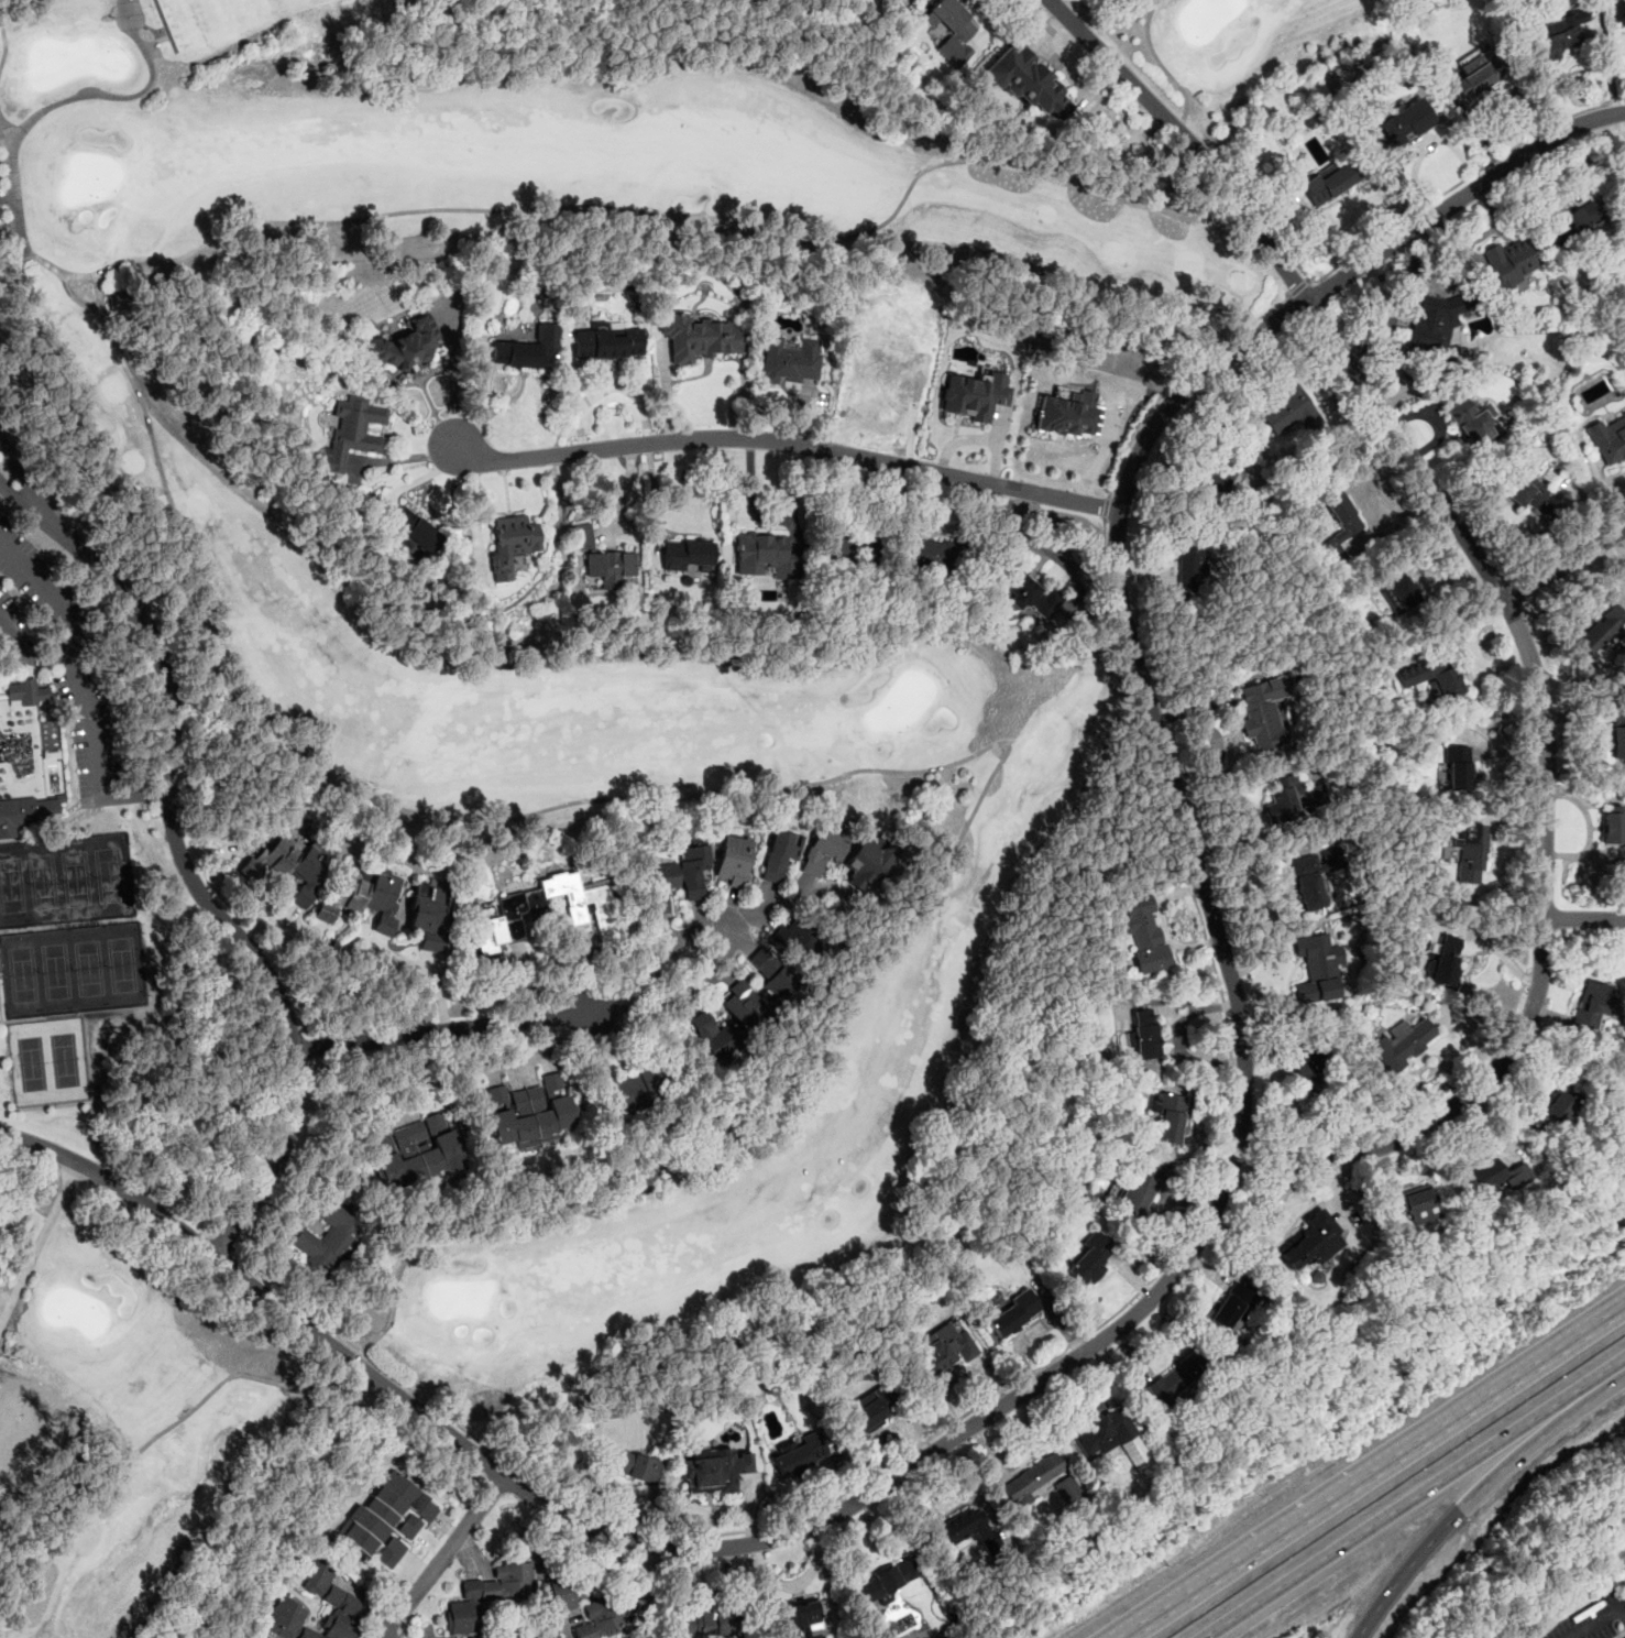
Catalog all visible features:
building: (1617, 11)
building: (951, 30)
building: (1553, 35)
road: (3, 43)
road: (1157, 64)
building: (1475, 76)
building: (1026, 81)
road: (122, 96)
road: (1178, 124)
road: (4, 128)
building: (1404, 128)
road: (1189, 151)
building: (1330, 182)
road: (1461, 182)
road: (600, 207)
building: (1569, 227)
building: (1509, 263)
road: (1298, 288)
road: (76, 299)
road: (1398, 308)
building: (1431, 326)
building: (703, 338)
building: (404, 343)
building: (606, 346)
building: (527, 351)
building: (791, 360)
building: (886, 362)
road: (1176, 378)
road: (452, 383)
building: (975, 395)
road: (483, 403)
building: (1289, 411)
building: (1068, 415)
building: (1471, 423)
building: (352, 434)
building: (1610, 440)
road: (788, 441)
road: (20, 476)
building: (1210, 476)
building: (1525, 490)
road: (623, 496)
road: (18, 503)
road: (1104, 507)
road: (475, 515)
building: (1338, 521)
building: (415, 531)
building: (581, 536)
road: (1019, 536)
building: (514, 540)
building: (848, 546)
building: (926, 552)
building: (764, 556)
building: (688, 558)
road: (1566, 565)
building: (606, 568)
building: (1192, 569)
building: (1396, 591)
building: (1028, 598)
road: (1509, 608)
road: (109, 622)
road: (77, 630)
building: (1601, 630)
building: (1430, 678)
park: (443, 679)
building: (26, 692)
building: (1260, 714)
road: (90, 721)
building: (1618, 734)
building: (48, 735)
building: (1454, 767)
road: (853, 772)
road: (135, 796)
building: (1294, 799)
building: (24, 813)
building: (1612, 826)
building: (1469, 851)
building: (821, 852)
building: (779, 856)
building: (734, 860)
building: (865, 864)
building: (304, 870)
building: (662, 870)
building: (692, 870)
park: (66, 876)
building: (1314, 876)
road: (195, 884)
building: (661, 893)
building: (365, 895)
road: (765, 905)
building: (429, 915)
road: (1584, 918)
building: (503, 922)
building: (606, 926)
building: (1143, 933)
building: (787, 937)
road: (728, 941)
building: (1446, 959)
park: (69, 970)
building: (1317, 970)
building: (771, 972)
road: (429, 975)
building: (740, 1003)
building: (1592, 1007)
road: (444, 1029)
building: (714, 1033)
building: (1143, 1036)
building: (1402, 1045)
park: (46, 1061)
building: (1306, 1073)
road: (418, 1089)
building: (632, 1090)
building: (1558, 1106)
building: (530, 1113)
building: (1170, 1118)
building: (418, 1151)
building: (1494, 1176)
building: (1139, 1187)
building: (1412, 1203)
building: (328, 1237)
road: (1195, 1242)
road: (39, 1243)
building: (1308, 1243)
building: (1088, 1262)
building: (1232, 1307)
building: (1012, 1313)
building: (942, 1351)
road: (352, 1361)
road: (1034, 1368)
road: (1605, 1374)
building: (1176, 1379)
building: (868, 1410)
building: (1104, 1429)
road: (146, 1445)
road: (1522, 1448)
building: (798, 1454)
building: (635, 1466)
building: (712, 1470)
road: (1374, 1472)
building: (1034, 1479)
road: (1392, 1510)
building: (385, 1524)
building: (967, 1531)
road: (440, 1559)
road: (1406, 1570)
building: (883, 1583)
building: (556, 1593)
building: (487, 1594)
building: (337, 1596)
building: (801, 1615)
building: (602, 1618)
parking lot: (1592, 1618)
road: (1597, 1619)
building: (710, 1623)
road: (385, 1635)
building: (551, 1636)
building: (815, 1636)
building: (257, 1637)
road: (1570, 1637)

